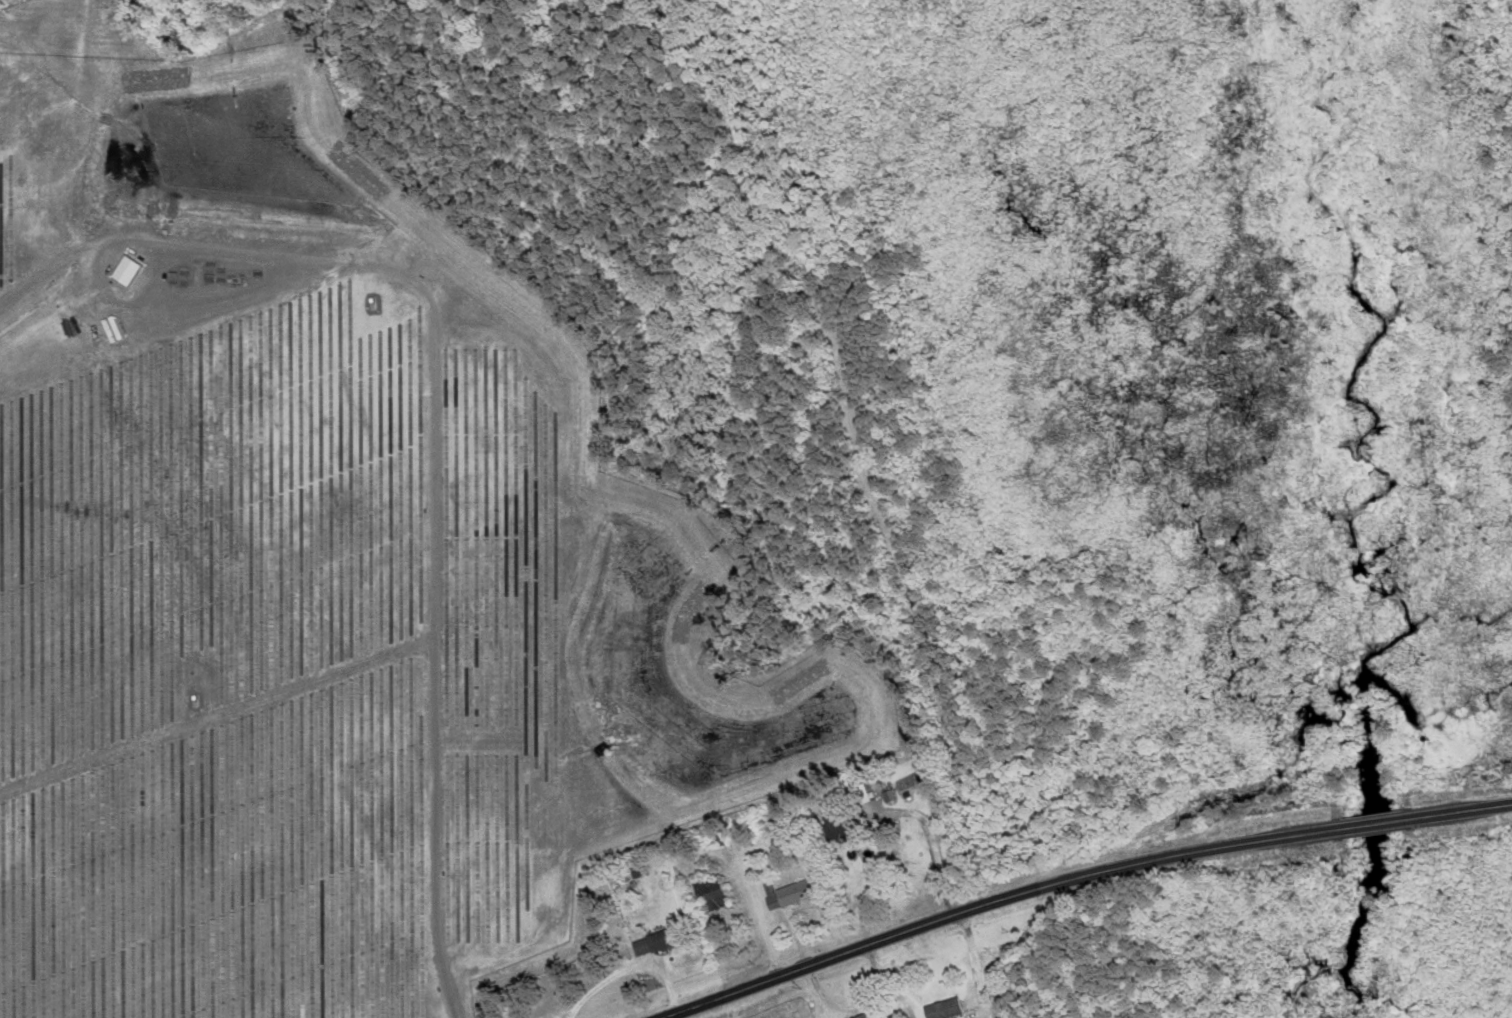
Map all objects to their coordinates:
road: (1460, 810)
road: (1375, 824)
building: (838, 827)
building: (708, 895)
building: (791, 895)
road: (995, 901)
building: (656, 942)
building: (942, 1009)
building: (859, 1016)

